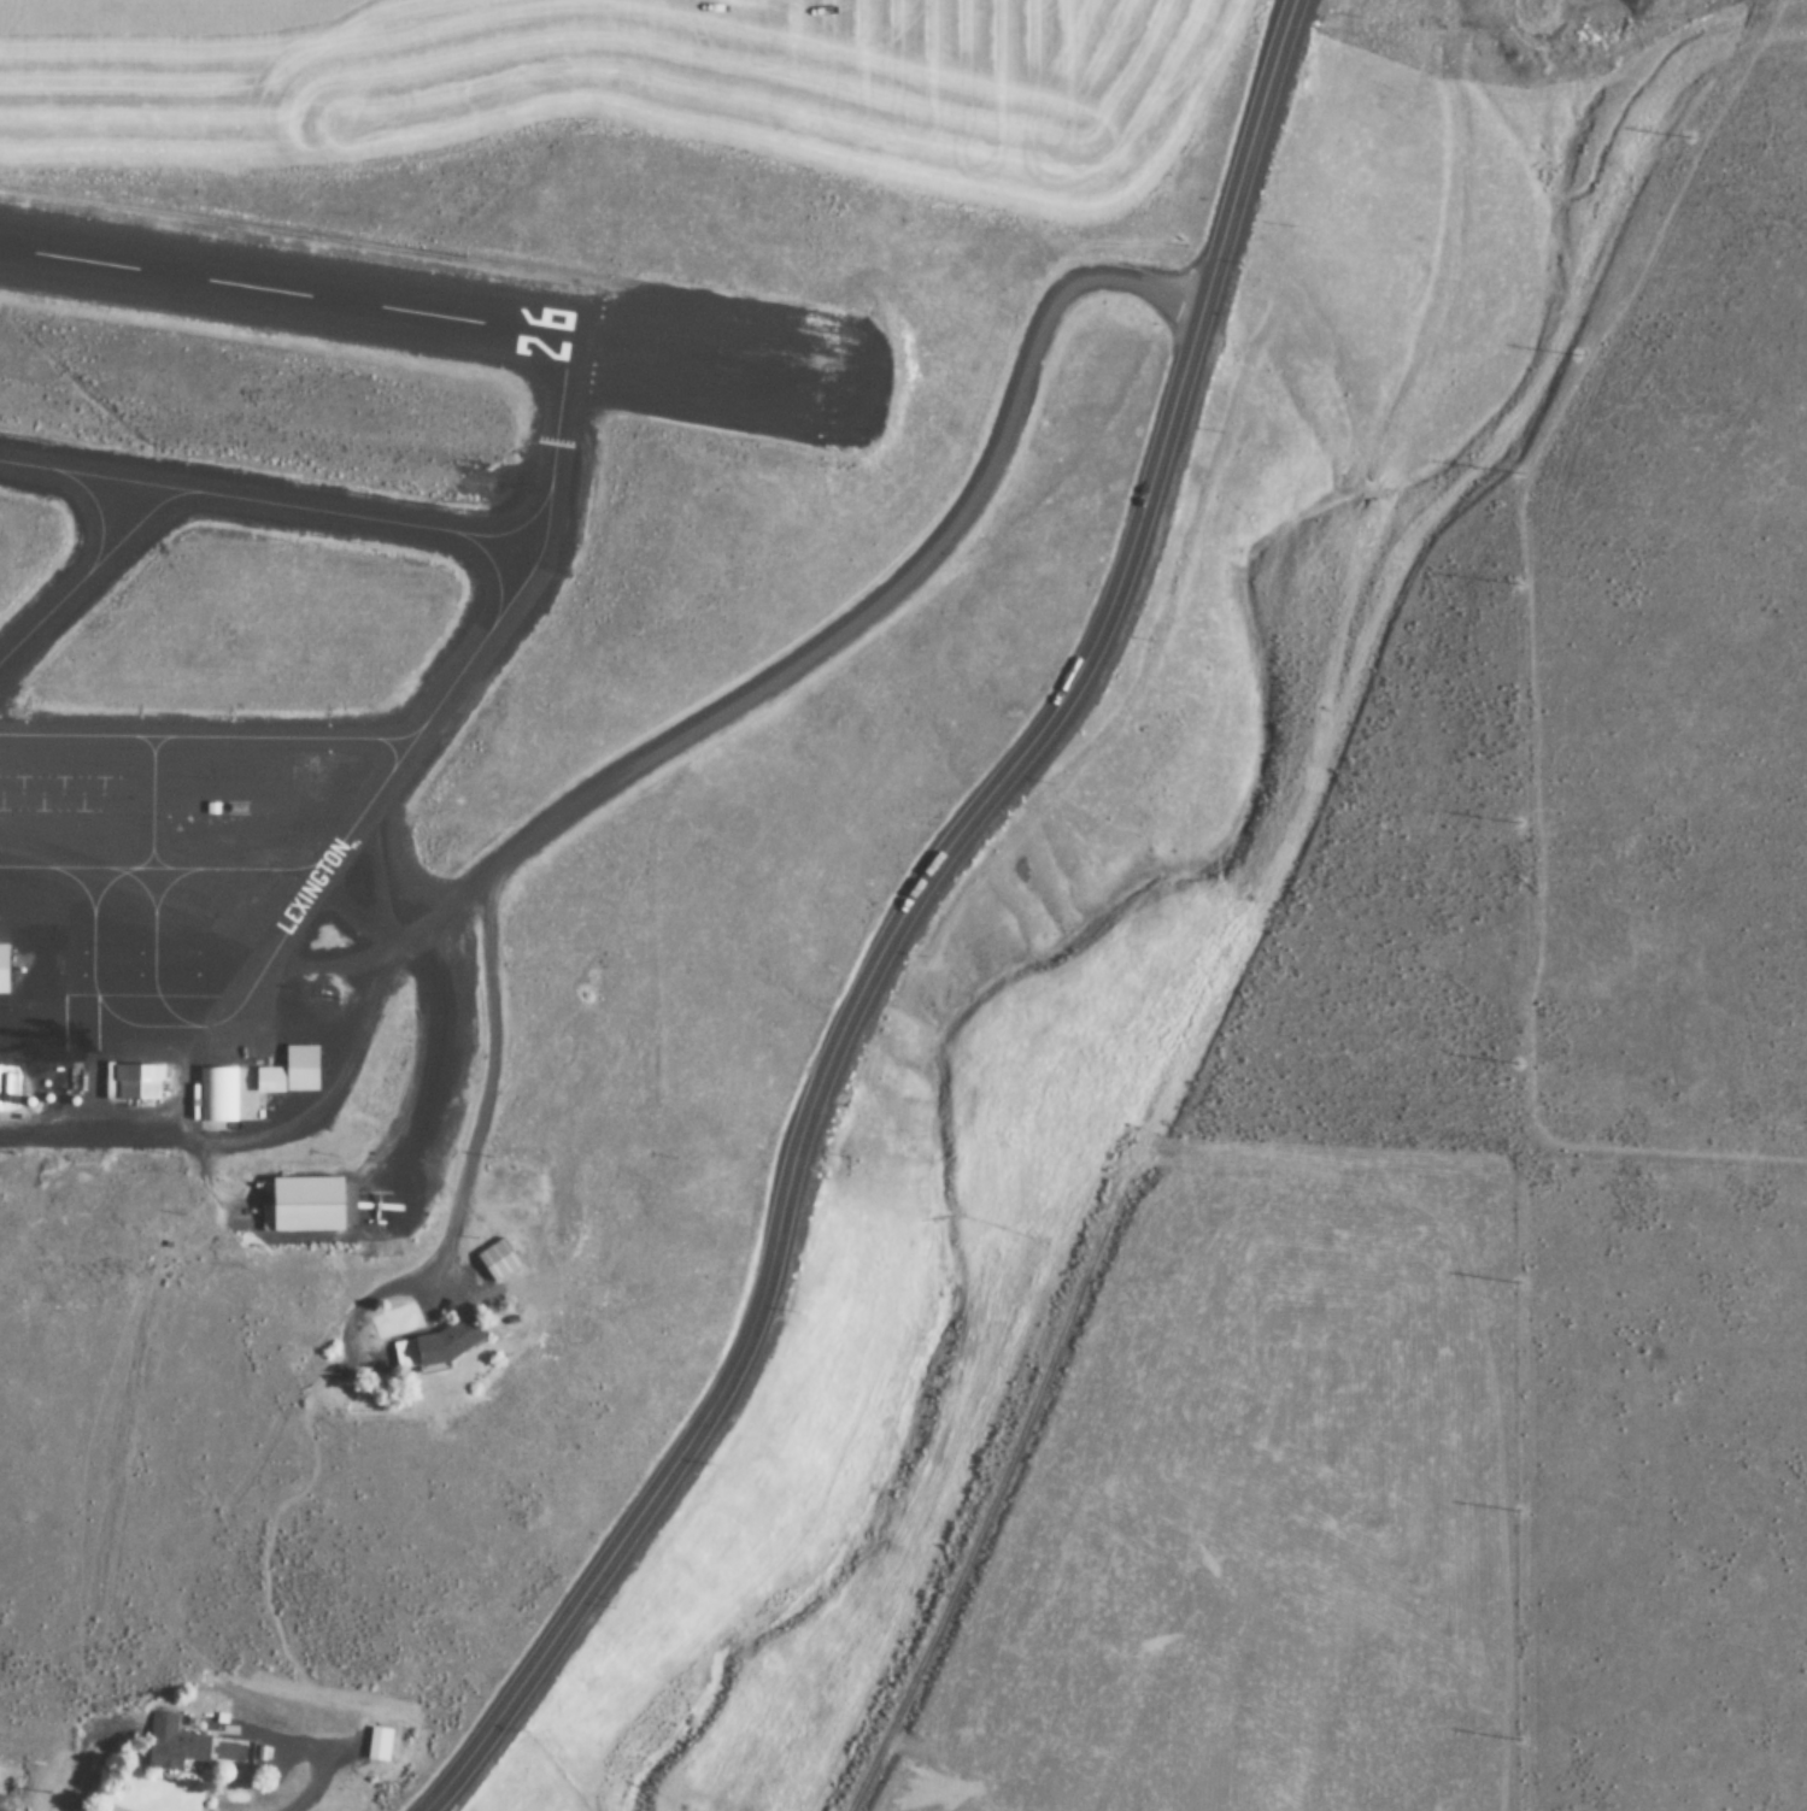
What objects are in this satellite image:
airport runway: (379, 307)
airport taxiway: (276, 508)
airport taxiway: (93, 513)
airport taxiway: (130, 524)
airport taxiway: (514, 529)
airport taxiway: (42, 613)
airport taxiway: (399, 746)
road: (633, 762)
airport taxiway: (123, 907)
road: (896, 923)
airport hangar: (2, 969)
building: (2, 969)
building: (293, 1072)
road: (481, 1093)
building: (142, 1094)
building: (216, 1094)
road: (201, 1104)
building: (303, 1204)
building: (497, 1260)
building: (436, 1346)
building: (376, 1744)
building: (174, 1745)

